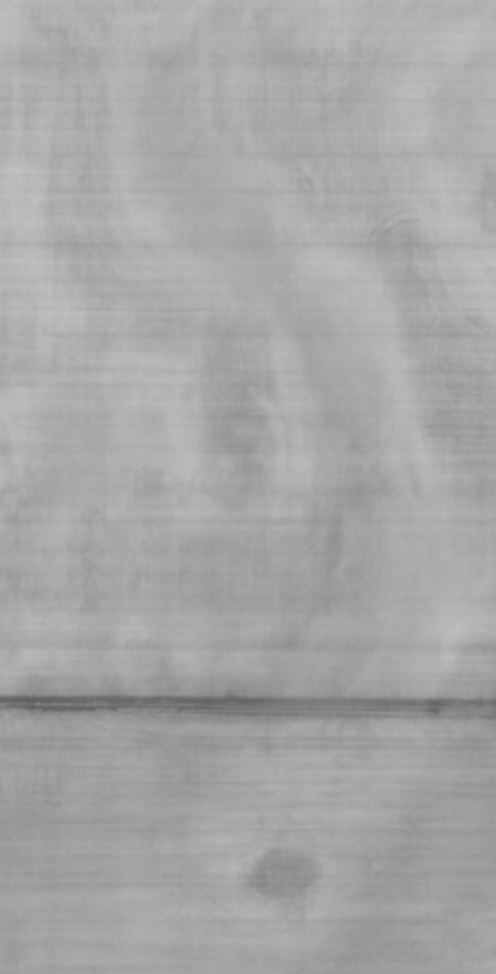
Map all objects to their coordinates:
road: (248, 721)

